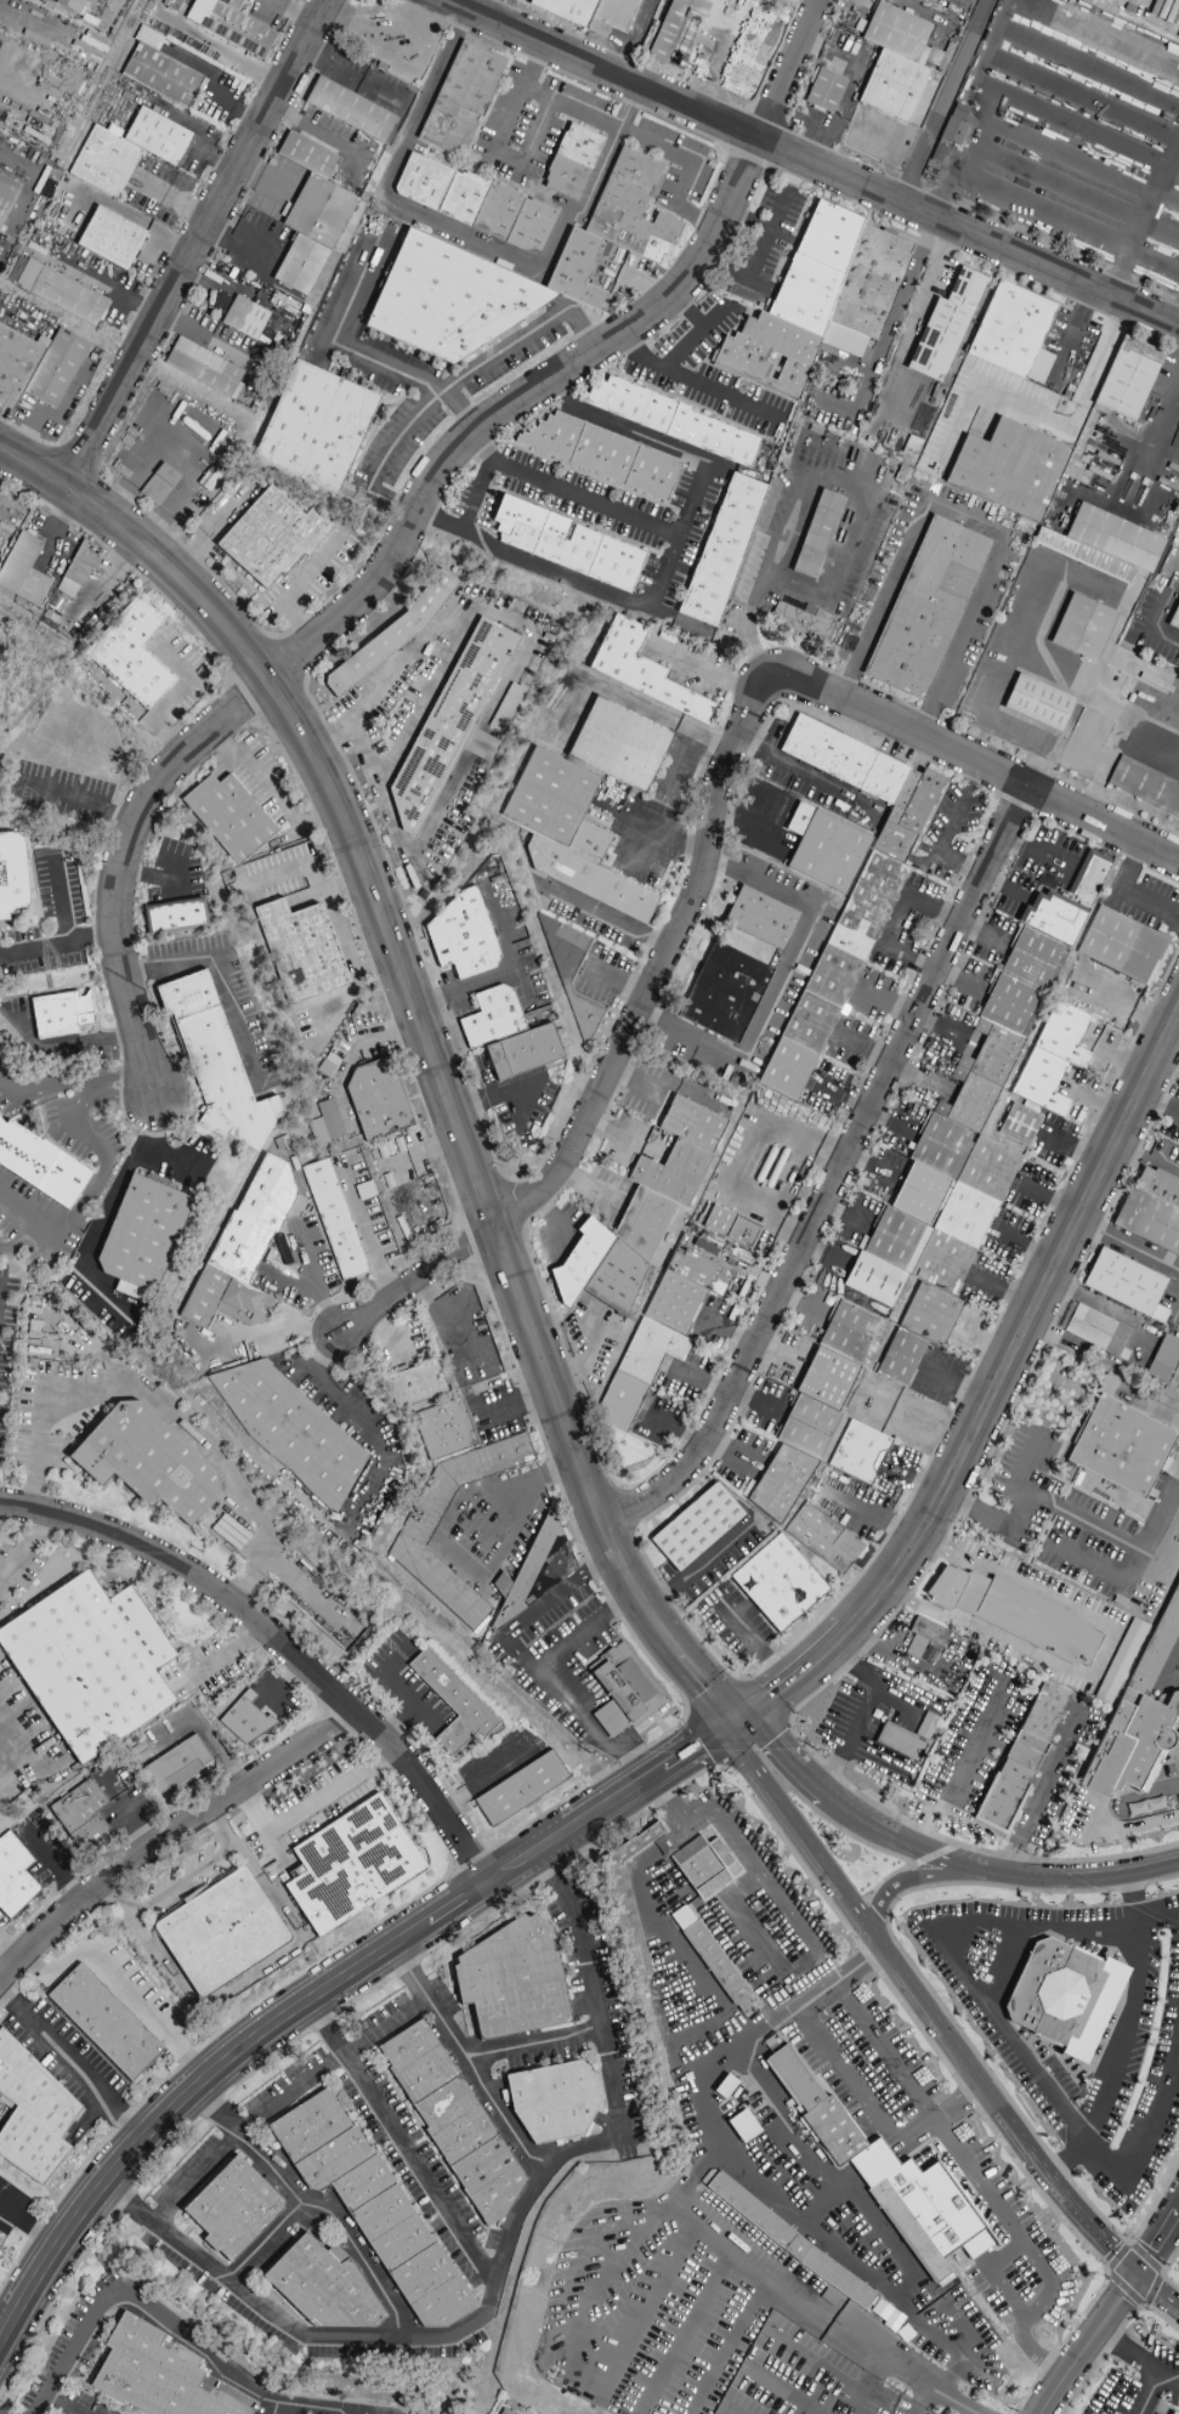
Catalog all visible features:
building: (56, 0)
building: (67, 2)
building: (590, 13)
building: (229, 25)
building: (674, 30)
building: (895, 62)
building: (158, 70)
road: (792, 70)
building: (823, 91)
building: (460, 97)
road: (943, 101)
building: (348, 109)
building: (954, 126)
building: (157, 136)
building: (103, 161)
building: (572, 161)
road: (534, 163)
road: (811, 164)
road: (686, 171)
building: (6, 194)
building: (474, 203)
road: (1047, 206)
building: (310, 216)
road: (443, 226)
road: (769, 227)
road: (1152, 232)
building: (829, 237)
building: (110, 238)
road: (195, 244)
building: (511, 272)
road: (747, 274)
road: (909, 278)
building: (872, 282)
building: (59, 293)
road: (922, 294)
building: (805, 295)
building: (244, 317)
building: (946, 325)
building: (1010, 329)
road: (505, 347)
road: (678, 351)
building: (769, 356)
building: (38, 365)
building: (203, 367)
building: (1129, 381)
road: (719, 393)
building: (675, 421)
building: (314, 427)
road: (1149, 436)
building: (603, 455)
road: (379, 461)
building: (1009, 470)
building: (158, 484)
road: (476, 492)
road: (571, 492)
road: (964, 520)
building: (817, 535)
building: (271, 537)
building: (1116, 539)
building: (568, 545)
building: (724, 550)
building: (1084, 557)
road: (665, 566)
building: (22, 571)
building: (76, 571)
road: (370, 591)
road: (1166, 600)
building: (928, 608)
building: (1174, 619)
building: (803, 622)
building: (1084, 629)
building: (391, 635)
road: (1166, 635)
building: (130, 653)
road: (437, 673)
building: (645, 674)
building: (1039, 705)
building: (452, 721)
building: (619, 744)
road: (987, 770)
building: (1145, 787)
building: (555, 803)
road: (958, 806)
building: (228, 816)
building: (824, 849)
road: (957, 866)
building: (12, 874)
road: (149, 875)
building: (589, 880)
building: (849, 888)
road: (1129, 896)
building: (174, 916)
building: (760, 918)
road: (610, 920)
road: (896, 920)
road: (982, 933)
road: (66, 936)
building: (460, 937)
road: (91, 941)
building: (1120, 946)
building: (299, 951)
road: (221, 974)
building: (572, 977)
road: (780, 980)
road: (958, 981)
road: (407, 982)
road: (466, 986)
building: (724, 992)
building: (61, 1014)
building: (508, 1035)
road: (624, 1045)
building: (1052, 1058)
road: (1124, 1059)
building: (215, 1062)
road: (74, 1083)
building: (376, 1098)
road: (1095, 1104)
building: (325, 1124)
building: (1019, 1124)
building: (967, 1134)
road: (176, 1157)
building: (40, 1166)
road: (837, 1177)
road: (87, 1195)
road: (110, 1206)
building: (1151, 1211)
building: (639, 1214)
building: (334, 1219)
building: (727, 1226)
building: (141, 1237)
road: (17, 1240)
road: (1127, 1246)
building: (243, 1247)
road: (316, 1281)
building: (1126, 1283)
building: (1095, 1331)
road: (270, 1332)
building: (656, 1345)
building: (900, 1358)
building: (1163, 1359)
building: (826, 1379)
building: (414, 1384)
road: (991, 1394)
road: (1150, 1409)
road: (42, 1410)
road: (352, 1415)
building: (290, 1429)
building: (444, 1429)
building: (1121, 1446)
road: (208, 1451)
building: (857, 1452)
building: (147, 1461)
building: (780, 1483)
building: (427, 1511)
road: (1018, 1515)
building: (696, 1528)
building: (822, 1538)
road: (1122, 1540)
road: (23, 1552)
road: (699, 1570)
road: (470, 1576)
road: (249, 1581)
building: (778, 1582)
road: (551, 1599)
building: (1015, 1615)
road: (586, 1636)
building: (923, 1637)
road: (667, 1639)
road: (283, 1644)
building: (1157, 1648)
road: (1178, 1651)
road: (226, 1655)
building: (1118, 1662)
building: (89, 1664)
road: (852, 1666)
road: (691, 1672)
building: (1130, 1698)
building: (450, 1704)
road: (720, 1706)
building: (1045, 1711)
road: (856, 1715)
building: (1121, 1717)
building: (1178, 1717)
road: (579, 1718)
building: (244, 1719)
traffic signals: (735, 1723)
building: (926, 1725)
building: (1147, 1739)
building: (900, 1742)
building: (1027, 1751)
road: (687, 1753)
road: (784, 1761)
building: (1107, 1761)
building: (176, 1766)
road: (963, 1770)
building: (521, 1789)
road: (1042, 1793)
road: (1150, 1793)
building: (1004, 1797)
road: (786, 1802)
road: (312, 1804)
road: (1089, 1813)
building: (80, 1815)
road: (1130, 1827)
road: (169, 1837)
building: (630, 1847)
building: (350, 1865)
building: (703, 1866)
road: (998, 1875)
building: (13, 1877)
road: (183, 1878)
road: (905, 1885)
road: (1135, 1899)
building: (680, 1920)
building: (627, 1922)
building: (220, 1932)
building: (718, 1966)
road: (1005, 1967)
road: (256, 1974)
building: (511, 1980)
road: (123, 1988)
road: (781, 1989)
building: (1061, 1994)
building: (747, 2012)
road: (789, 2014)
road: (993, 2016)
building: (103, 2023)
road: (277, 2024)
road: (531, 2041)
road: (467, 2059)
road: (1121, 2061)
road: (73, 2065)
building: (795, 2078)
building: (877, 2079)
road: (981, 2084)
road: (284, 2098)
building: (552, 2103)
building: (856, 2107)
building: (892, 2108)
building: (34, 2115)
building: (452, 2119)
road: (929, 2124)
building: (834, 2131)
road: (401, 2143)
road: (715, 2146)
road: (705, 2166)
road: (866, 2169)
building: (897, 2178)
road: (824, 2197)
building: (368, 2201)
road: (313, 2206)
building: (232, 2209)
building: (920, 2209)
building: (899, 2216)
road: (32, 2228)
road: (263, 2242)
building: (788, 2242)
road: (1158, 2242)
road: (503, 2263)
traffic signals: (1139, 2276)
building: (322, 2286)
road: (1158, 2291)
parking lot: (667, 2302)
road: (1120, 2303)
road: (1037, 2308)
road: (169, 2329)
road: (947, 2342)
road: (1139, 2356)
road: (1070, 2371)
road: (912, 2373)
building: (147, 2374)
parking lot: (804, 2379)
road: (865, 2384)
road: (1150, 2392)
road: (920, 2398)
road: (1128, 2401)
road: (1109, 2403)
road: (59, 2405)
road: (282, 2408)
building: (1173, 2410)
building: (503, 2412)

